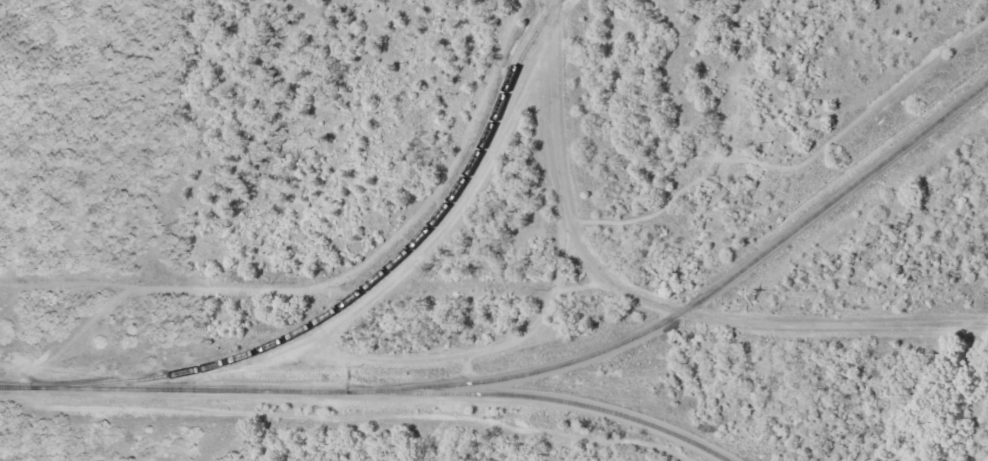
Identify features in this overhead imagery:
power plant: (494, 230)
railway: (388, 269)
railway: (705, 295)
road: (648, 301)
railway: (185, 389)
railway: (553, 400)

